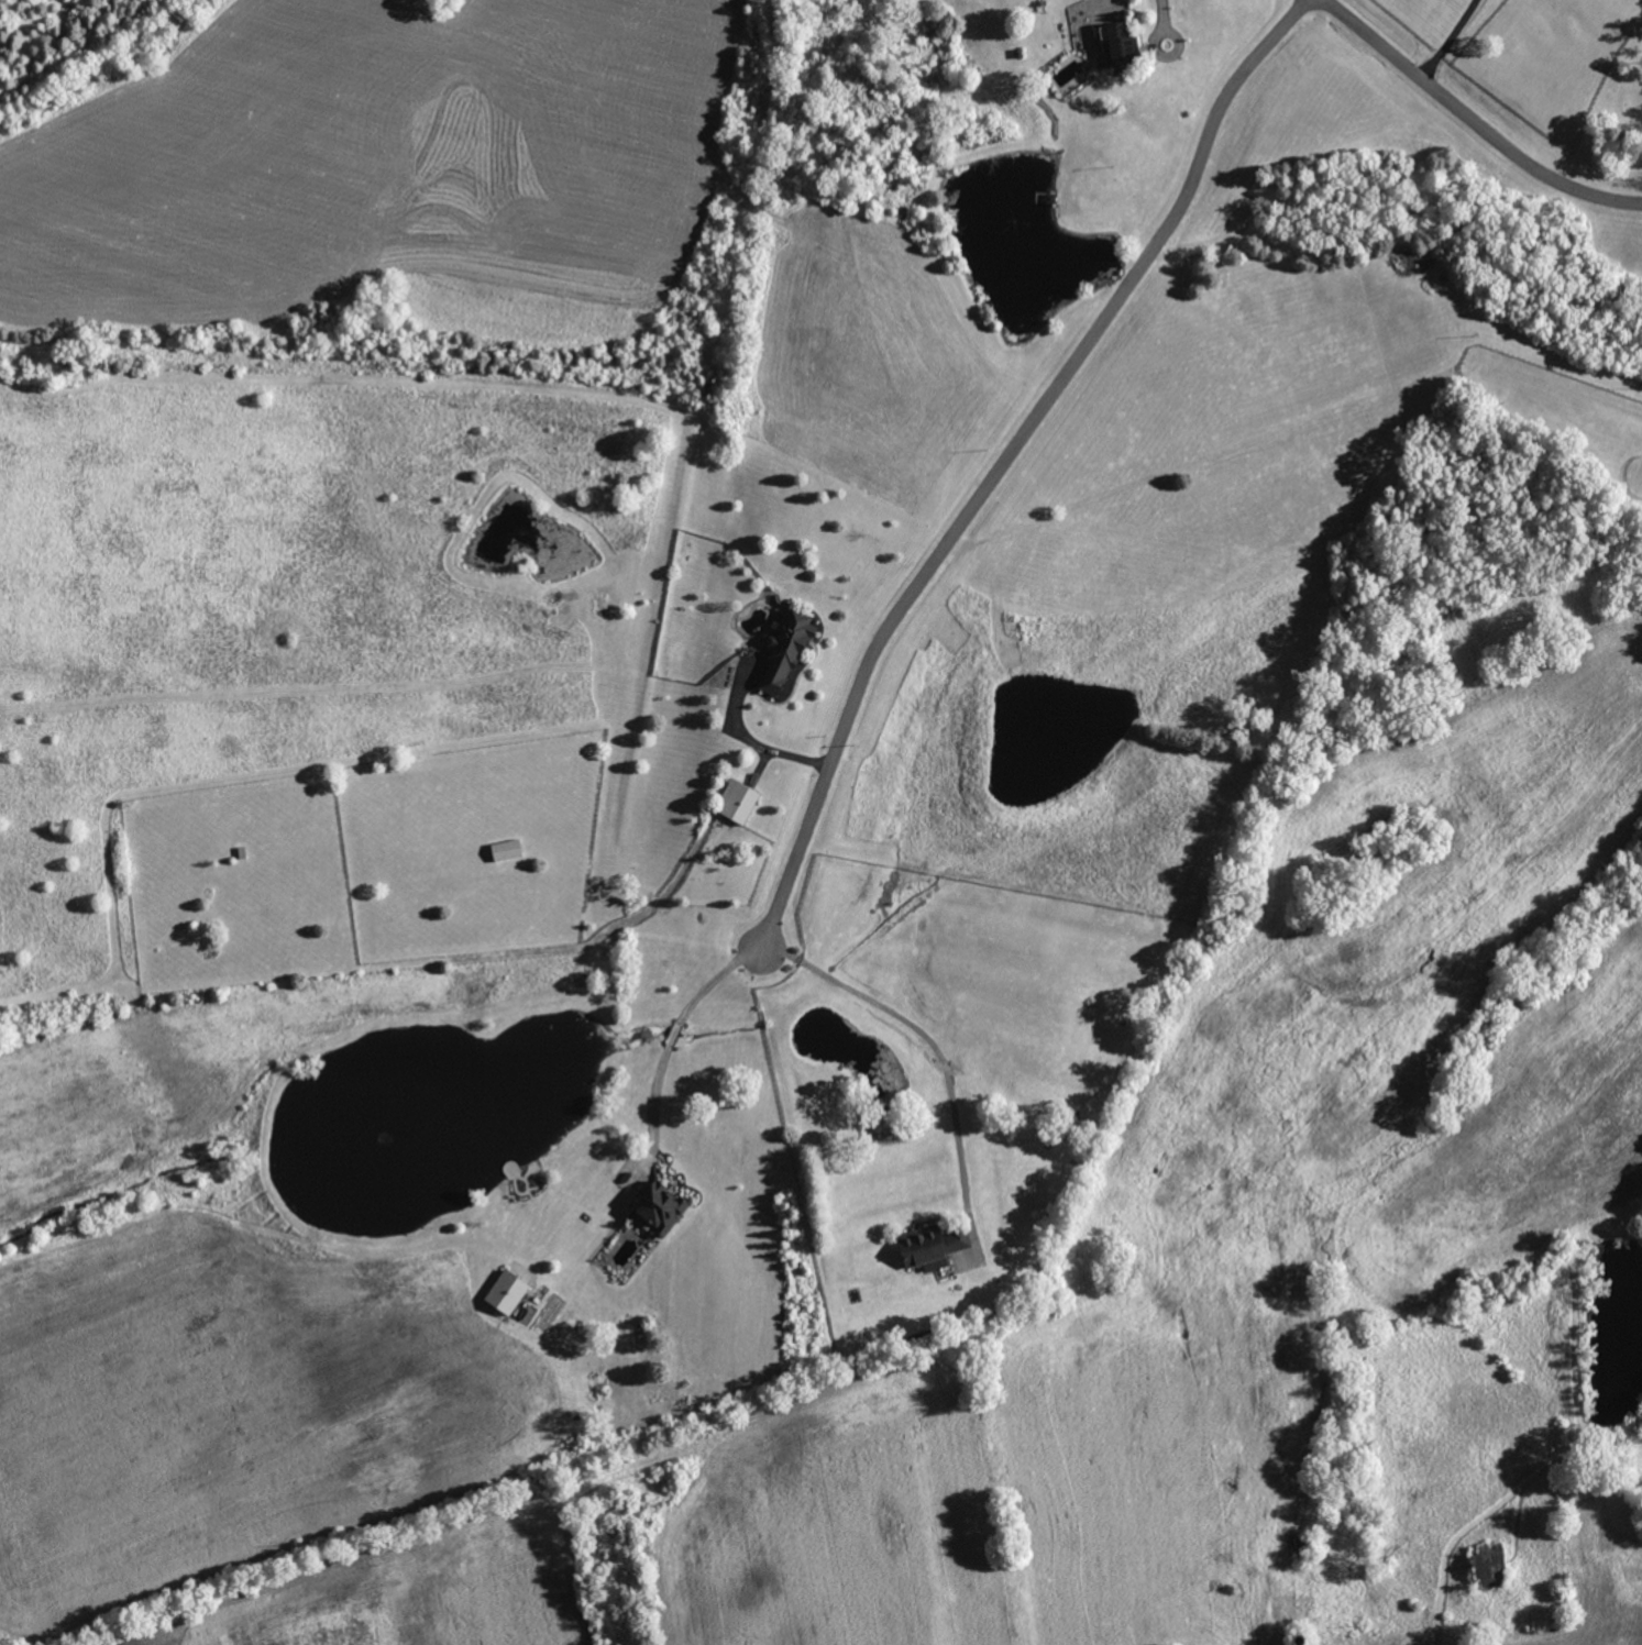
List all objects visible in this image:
road: (1159, 19)
road: (1454, 38)
building: (1124, 45)
building: (1021, 54)
building: (948, 62)
building: (950, 74)
road: (1476, 119)
building: (1051, 198)
road: (1005, 456)
building: (791, 650)
road: (752, 738)
building: (739, 803)
building: (509, 851)
building: (243, 853)
road: (709, 972)
road: (669, 1028)
road: (923, 1034)
road: (648, 1103)
building: (662, 1206)
building: (933, 1244)
building: (506, 1293)
building: (1303, 1548)
building: (1490, 1566)
park: (34, 1588)
road: (1435, 1624)
building: (1301, 1640)

